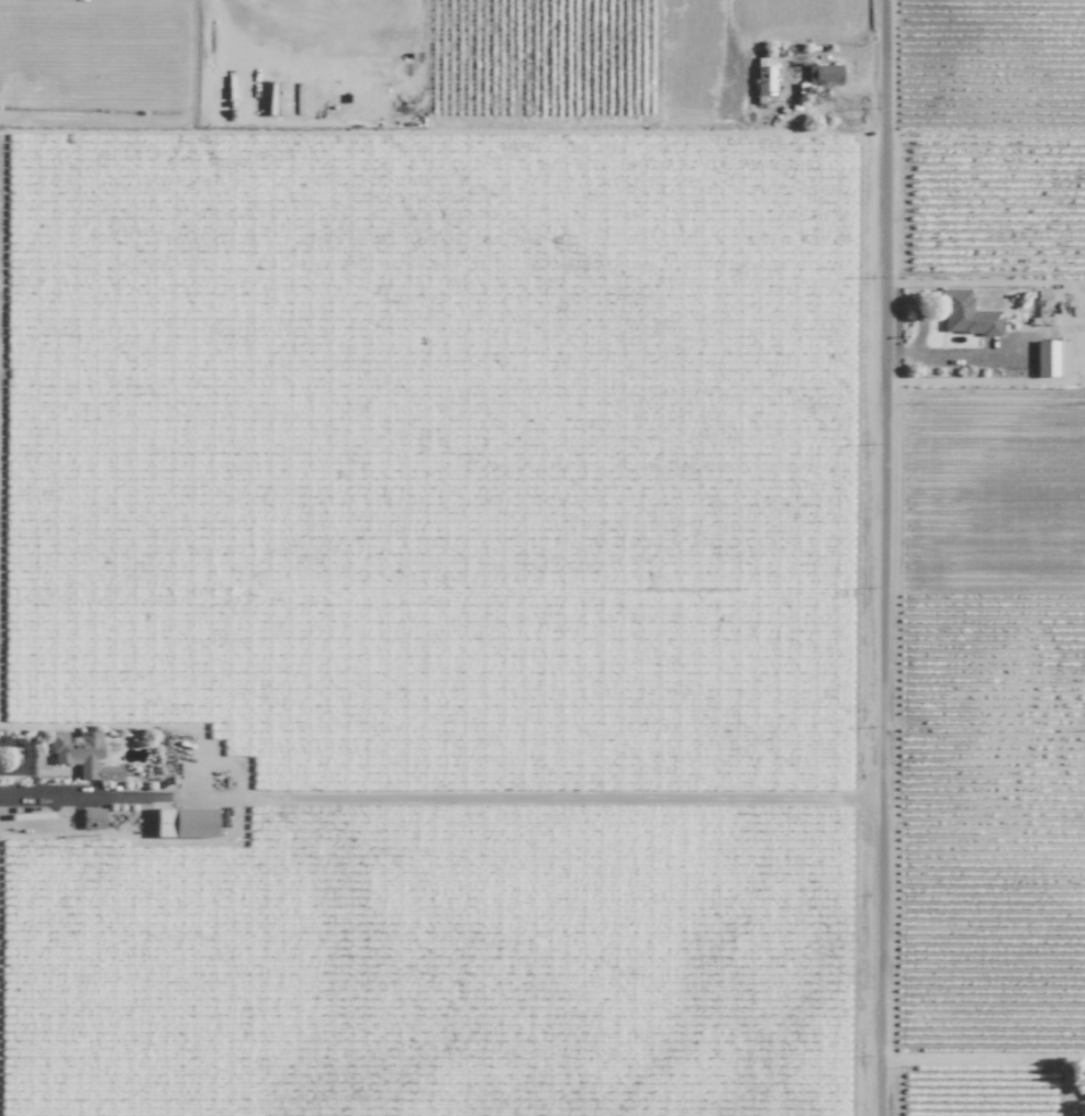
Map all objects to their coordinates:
building: (824, 75)
building: (764, 80)
building: (963, 314)
building: (1051, 358)
road: (884, 558)
building: (83, 756)
road: (76, 797)
building: (92, 818)
building: (184, 823)
road: (984, 1058)
building: (1084, 1087)

